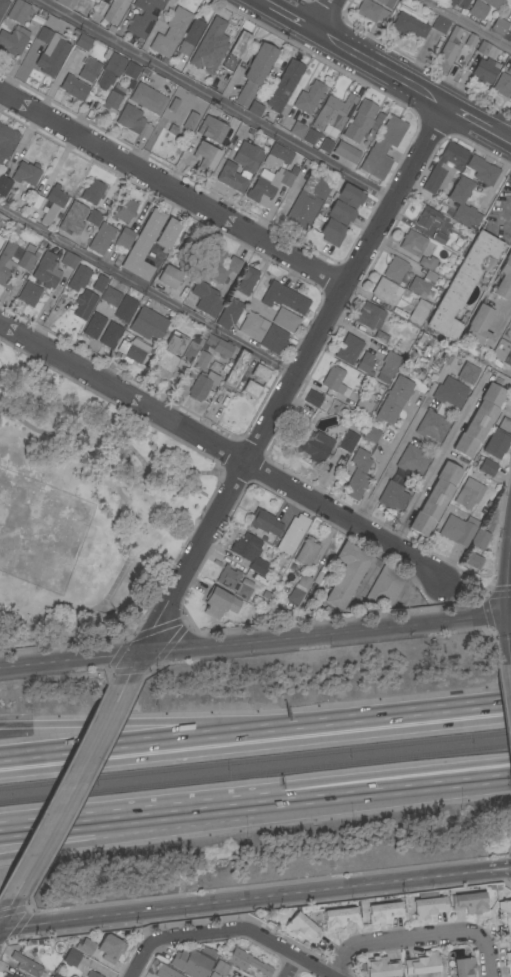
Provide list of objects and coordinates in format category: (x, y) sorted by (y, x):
building: (385, 2)
building: (66, 3)
road: (264, 3)
building: (457, 3)
building: (494, 3)
building: (3, 5)
building: (478, 10)
building: (18, 11)
building: (115, 11)
building: (371, 11)
road: (324, 15)
building: (143, 17)
road: (292, 18)
road: (470, 22)
building: (407, 25)
building: (440, 25)
building: (499, 25)
building: (44, 33)
building: (170, 33)
building: (510, 34)
building: (190, 37)
building: (13, 41)
building: (472, 41)
building: (83, 42)
building: (450, 46)
building: (210, 47)
building: (235, 51)
building: (489, 51)
building: (52, 56)
building: (114, 65)
building: (89, 69)
building: (135, 69)
road: (382, 69)
building: (509, 70)
building: (485, 71)
building: (255, 73)
building: (502, 85)
building: (284, 86)
building: (74, 87)
building: (509, 92)
building: (114, 97)
building: (510, 97)
building: (148, 98)
building: (309, 98)
road: (218, 100)
building: (255, 109)
building: (333, 112)
road: (468, 119)
building: (133, 121)
building: (189, 122)
building: (212, 129)
building: (298, 129)
building: (356, 132)
road: (499, 136)
building: (309, 137)
building: (7, 140)
building: (326, 146)
building: (383, 148)
building: (278, 155)
building: (205, 158)
building: (248, 168)
building: (444, 168)
building: (482, 170)
building: (26, 174)
building: (4, 185)
road: (174, 185)
building: (267, 185)
building: (90, 193)
building: (308, 200)
building: (458, 201)
building: (20, 203)
building: (53, 204)
building: (124, 210)
building: (340, 214)
building: (92, 216)
building: (427, 217)
road: (503, 218)
building: (62, 227)
building: (167, 234)
building: (101, 238)
building: (439, 238)
building: (1, 240)
building: (412, 243)
building: (139, 245)
building: (185, 245)
building: (69, 260)
building: (428, 263)
building: (24, 265)
building: (219, 267)
building: (396, 269)
building: (47, 270)
building: (168, 277)
building: (79, 278)
building: (503, 279)
building: (246, 281)
building: (422, 284)
building: (462, 285)
road: (149, 290)
building: (388, 291)
building: (85, 292)
building: (29, 294)
building: (111, 297)
building: (284, 298)
building: (206, 299)
building: (125, 308)
building: (419, 312)
building: (229, 313)
building: (370, 316)
building: (286, 320)
building: (148, 323)
building: (479, 325)
building: (94, 326)
building: (253, 326)
road: (503, 327)
building: (110, 335)
building: (380, 337)
building: (274, 340)
building: (218, 346)
building: (192, 348)
building: (135, 352)
building: (502, 352)
building: (354, 354)
building: (169, 355)
building: (198, 364)
building: (388, 366)
building: (235, 368)
building: (260, 373)
building: (468, 373)
building: (335, 381)
building: (202, 385)
building: (251, 389)
building: (450, 392)
road: (286, 394)
building: (312, 398)
building: (394, 400)
building: (365, 404)
building: (479, 420)
building: (432, 426)
building: (371, 434)
building: (498, 439)
building: (348, 441)
building: (314, 446)
road: (399, 448)
road: (223, 449)
building: (413, 461)
road: (436, 462)
road: (381, 464)
building: (488, 468)
building: (358, 474)
building: (469, 493)
building: (392, 496)
building: (435, 499)
park: (83, 510)
building: (265, 523)
building: (458, 530)
building: (292, 534)
building: (480, 539)
building: (250, 552)
building: (306, 552)
building: (473, 561)
building: (346, 575)
building: (304, 581)
building: (234, 582)
building: (385, 586)
road: (476, 592)
building: (295, 596)
building: (220, 603)
building: (247, 614)
road: (255, 642)
road: (387, 717)
road: (132, 722)
road: (132, 743)
railway: (255, 760)
railway: (255, 774)
road: (427, 777)
road: (72, 792)
road: (172, 806)
road: (173, 826)
road: (493, 865)
road: (237, 899)
building: (469, 903)
building: (428, 906)
road: (7, 912)
building: (384, 912)
building: (505, 914)
building: (339, 918)
building: (302, 928)
road: (178, 935)
road: (420, 937)
building: (101, 946)
road: (290, 952)
building: (70, 956)
building: (508, 959)
building: (194, 961)
building: (247, 962)
building: (425, 964)
building: (27, 965)
road: (292, 966)
building: (381, 967)
building: (464, 967)
building: (221, 968)
building: (166, 972)
building: (92, 974)
building: (56, 975)
building: (214, 975)
building: (6, 976)
building: (13, 976)

